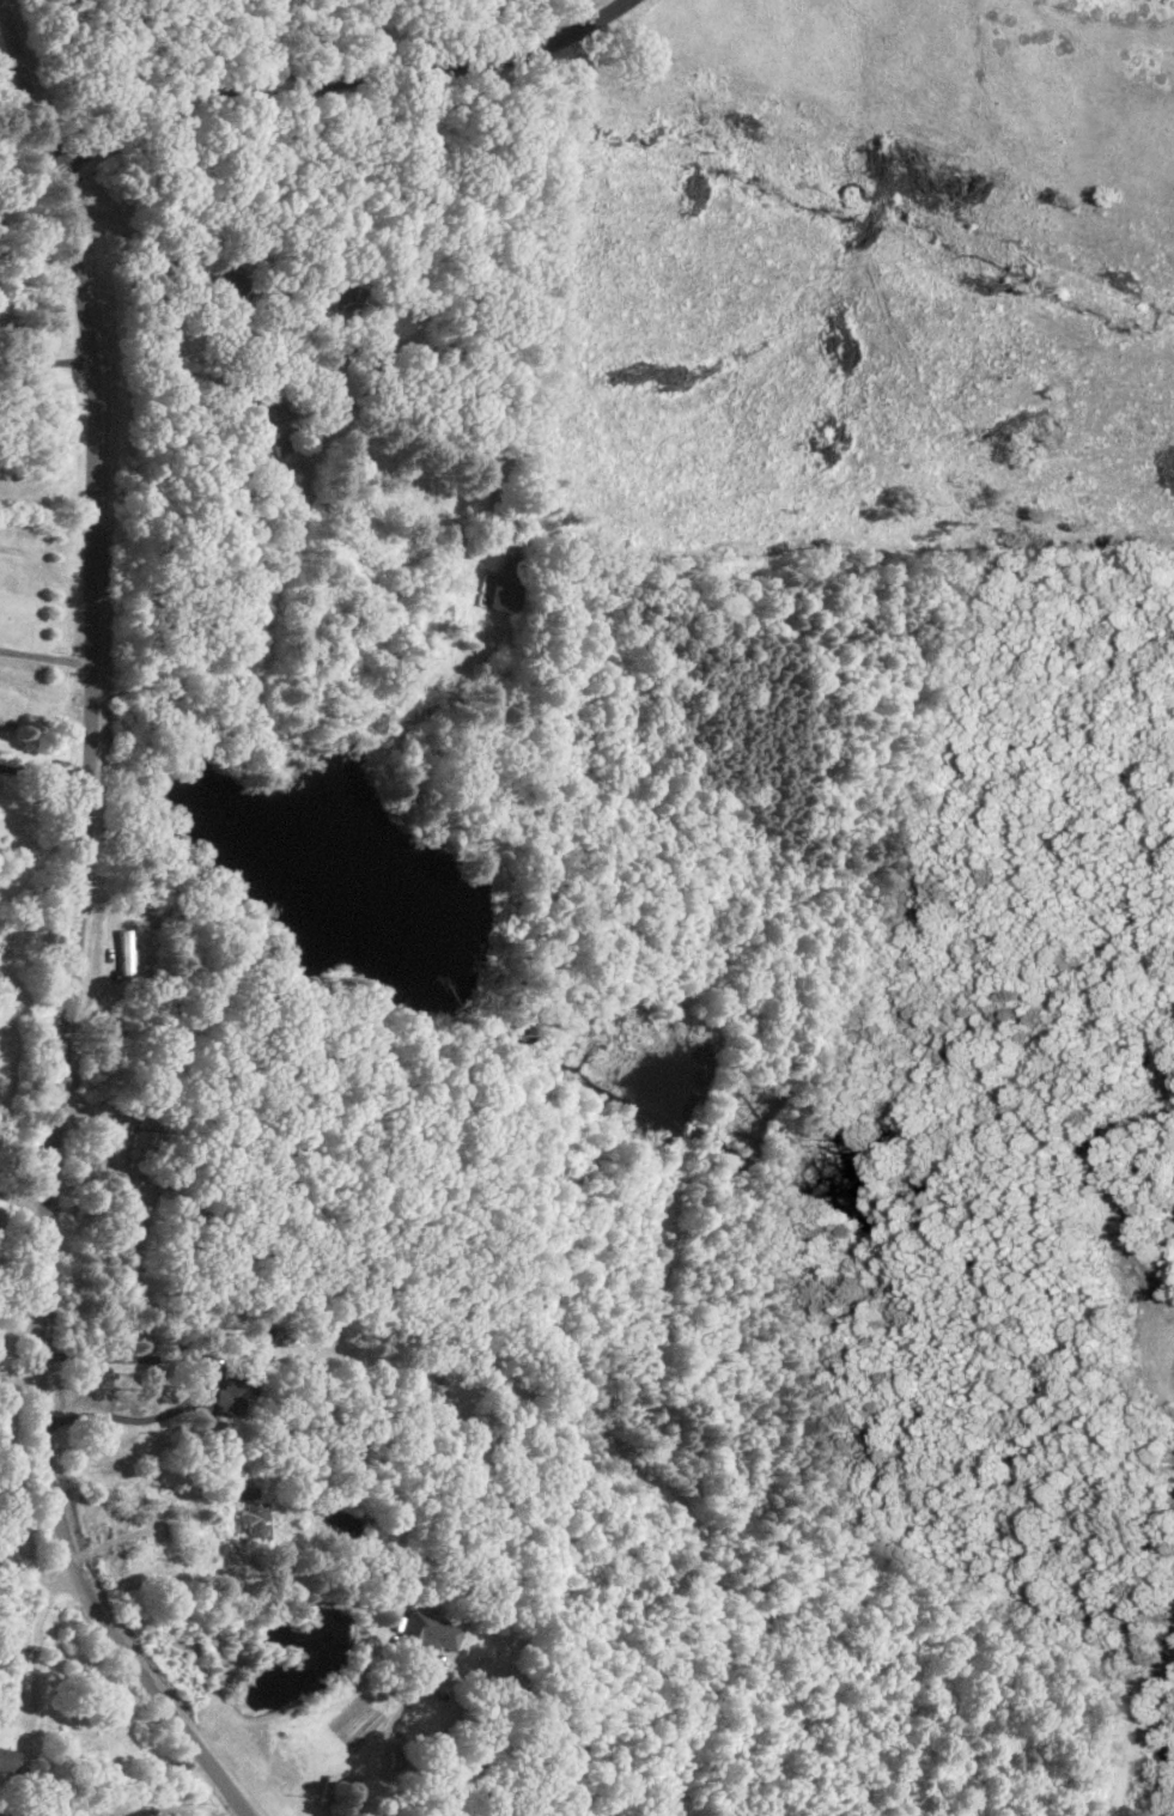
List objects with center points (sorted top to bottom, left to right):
road: (576, 30)
road: (303, 80)
building: (229, 280)
building: (342, 299)
road: (43, 318)
road: (407, 432)
building: (505, 584)
road: (44, 656)
road: (42, 769)
road: (71, 935)
building: (122, 950)
road: (20, 1194)
road: (20, 1329)
building: (233, 1393)
road: (116, 1416)
road: (154, 1517)
building: (257, 1519)
building: (431, 1629)
road: (36, 1644)
road: (383, 1735)
building: (8, 1759)
road: (126, 1797)

